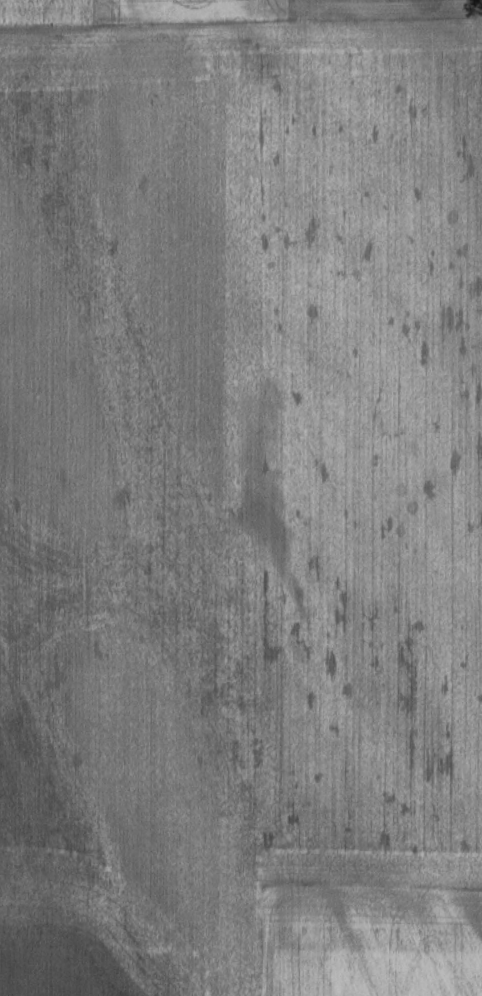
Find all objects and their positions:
crop: (242, 14)
crop: (141, 463)
crop: (382, 467)
crop: (380, 947)
crop: (140, 948)

